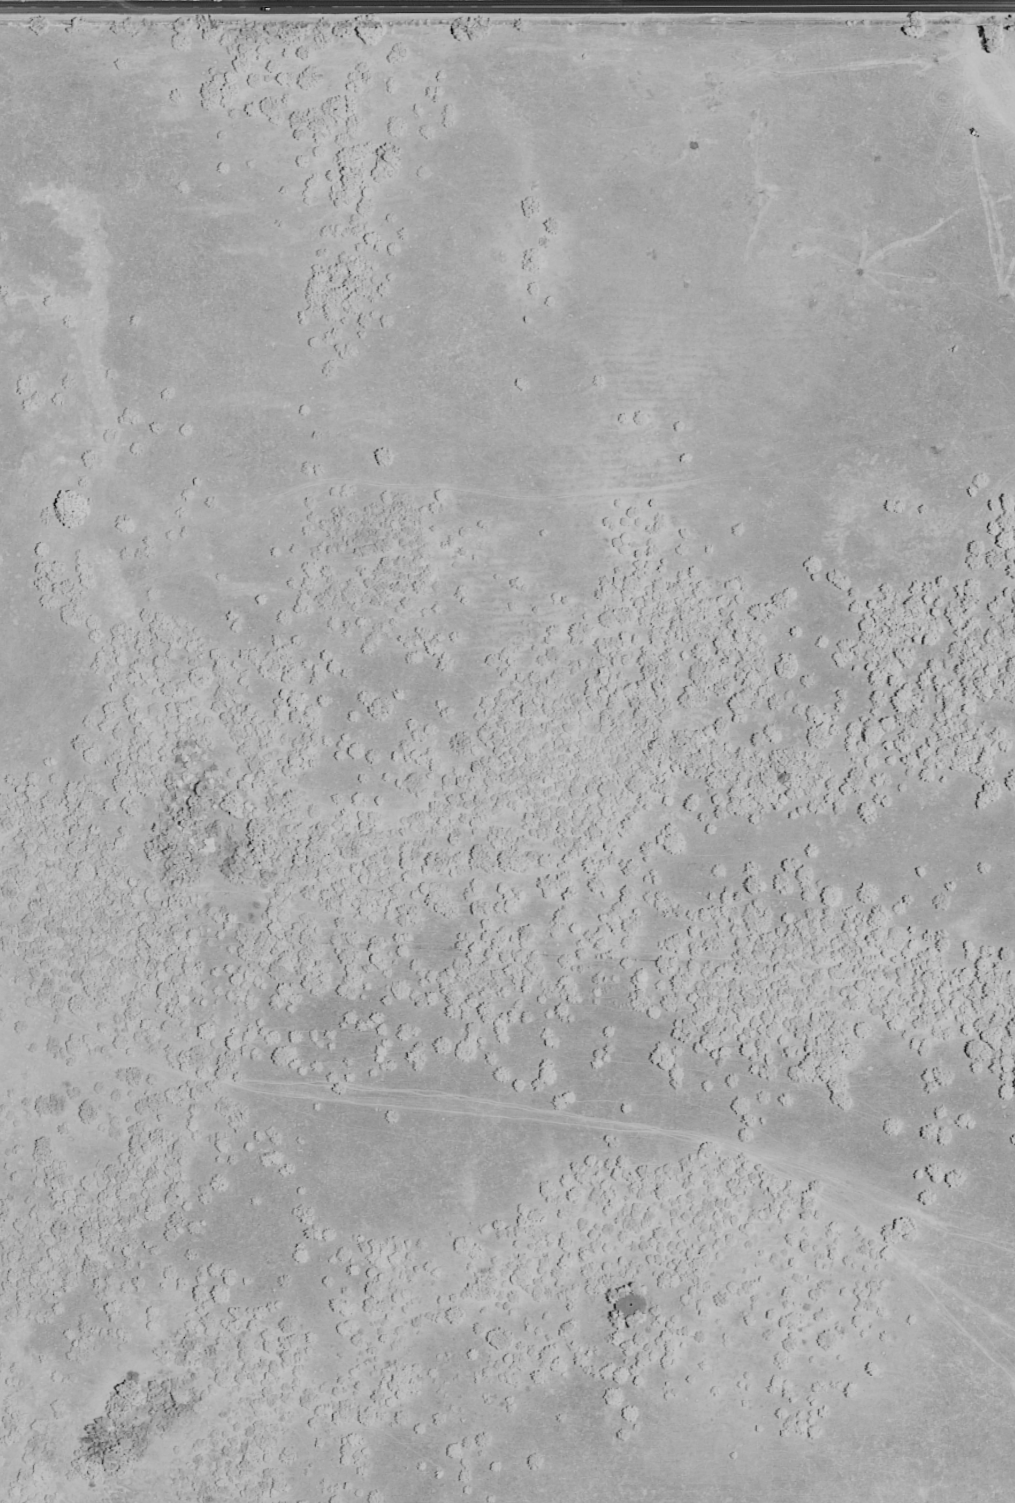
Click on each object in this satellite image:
road: (236, 4)
road: (611, 4)
road: (507, 8)
road: (501, 1382)

